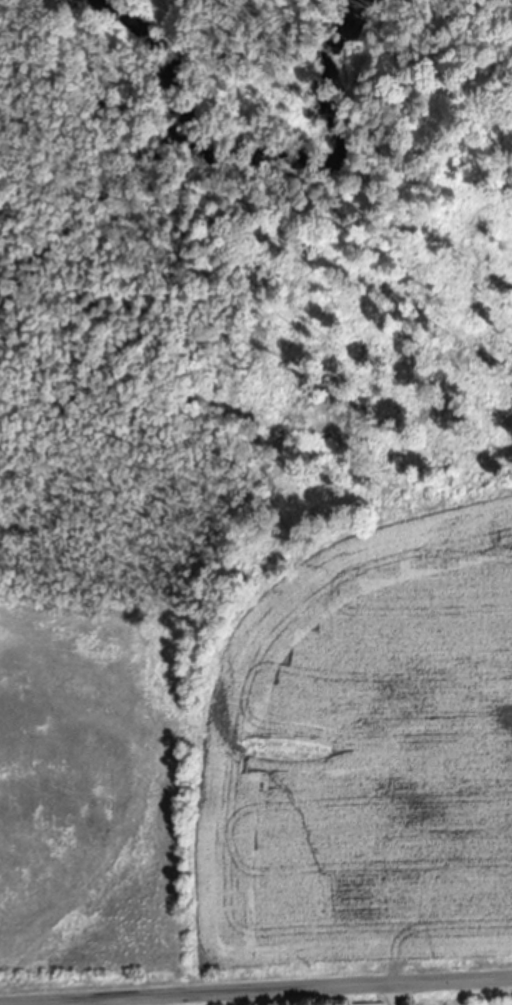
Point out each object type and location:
road: (255, 989)
road: (394, 994)

